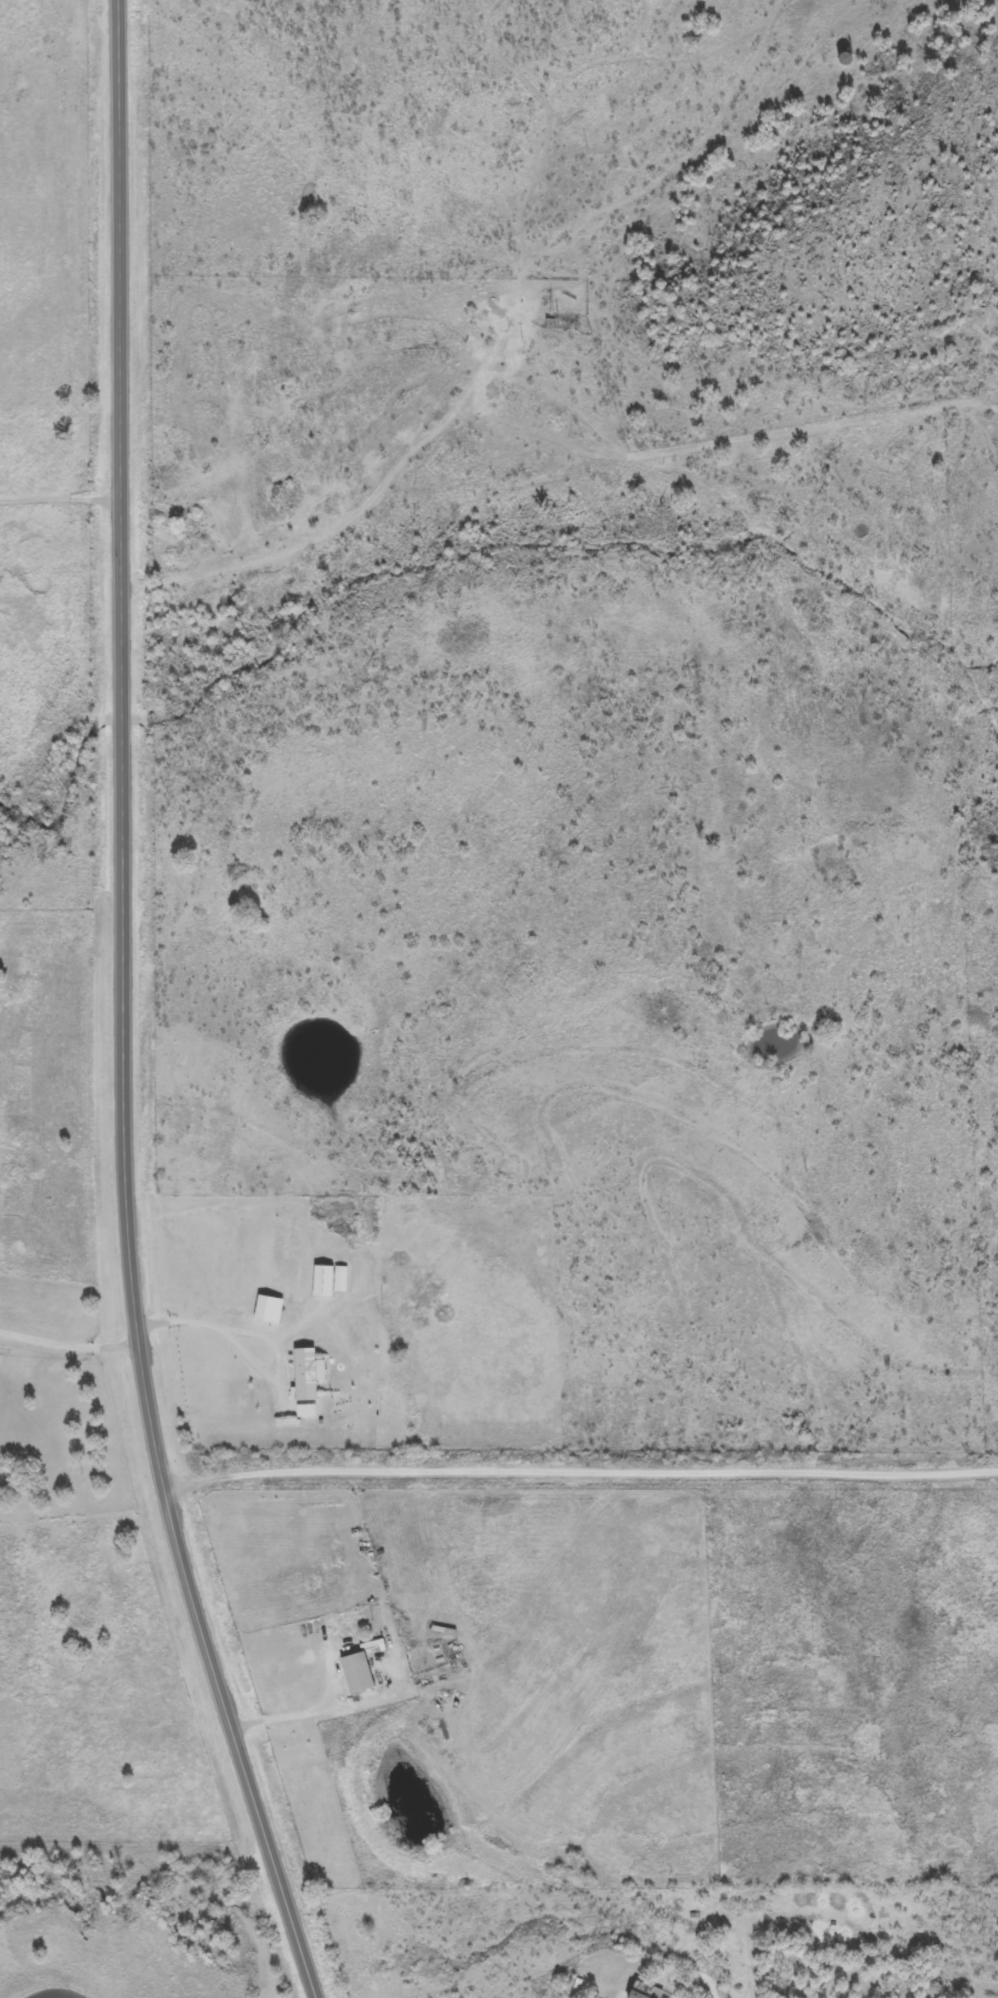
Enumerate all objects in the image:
road: (123, 1011)
building: (268, 1308)
building: (305, 1372)
building: (357, 1672)
building: (643, 1990)

